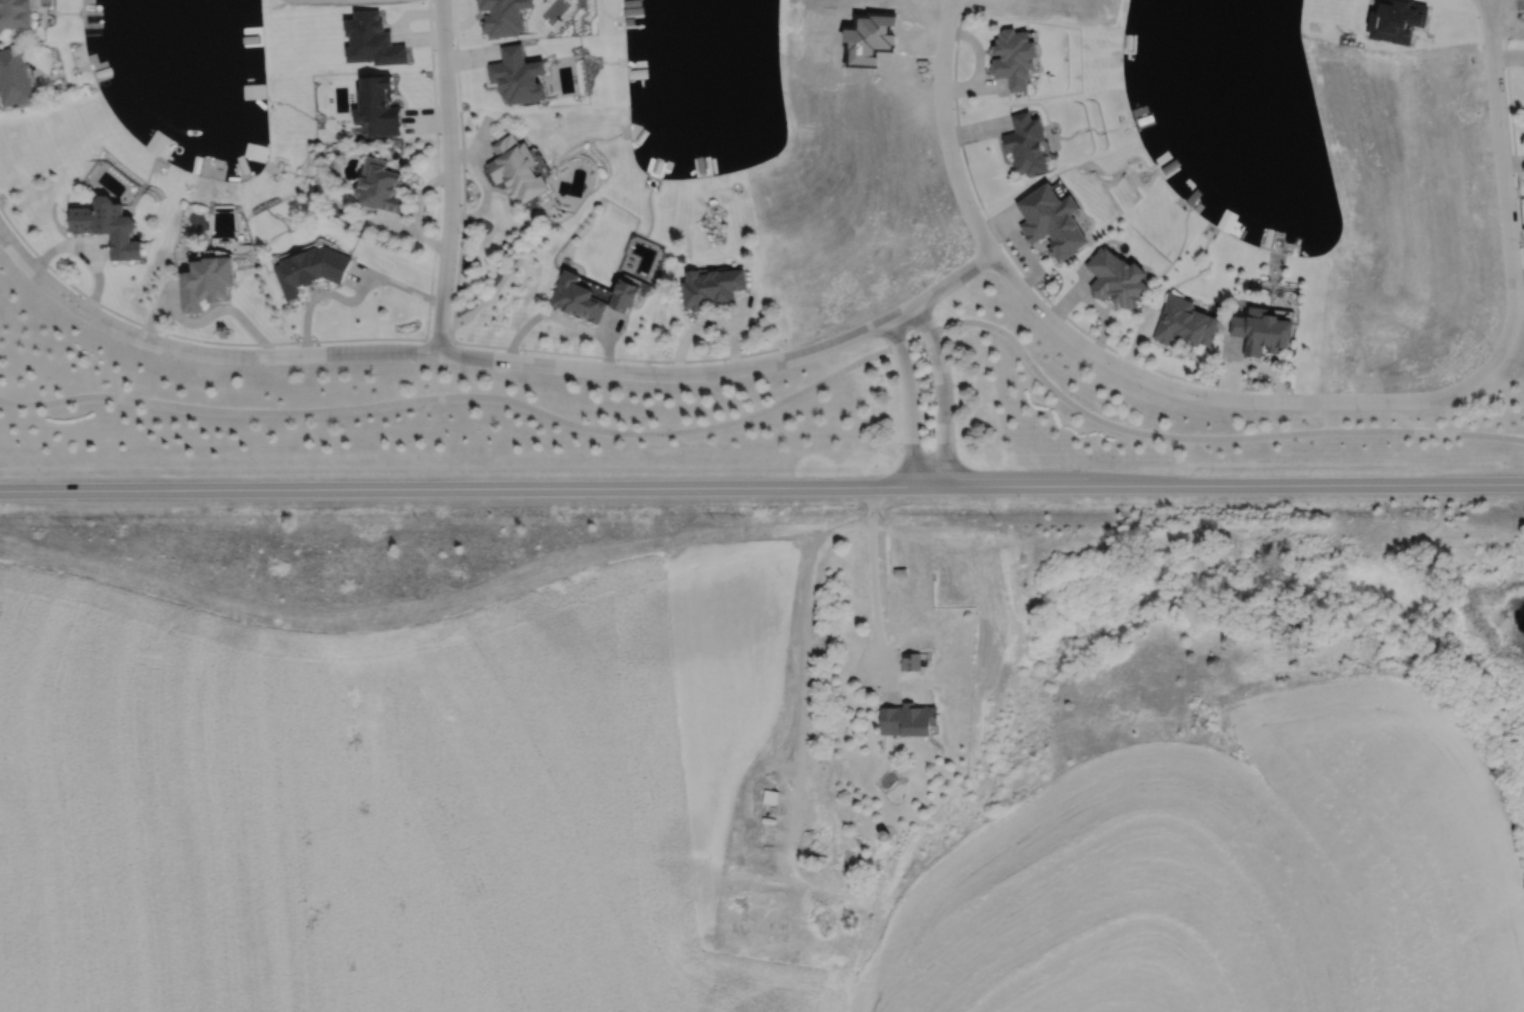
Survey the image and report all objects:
building: (13, 16)
building: (503, 16)
building: (372, 40)
building: (1010, 59)
building: (516, 76)
building: (13, 78)
building: (378, 107)
road: (950, 136)
building: (1023, 147)
road: (1504, 150)
building: (513, 171)
road: (448, 177)
building: (377, 188)
building: (104, 227)
building: (307, 269)
building: (203, 283)
building: (710, 289)
building: (589, 297)
road: (352, 298)
building: (1183, 324)
building: (1261, 333)
road: (480, 358)
road: (942, 391)
road: (784, 393)
road: (910, 402)
road: (1258, 403)
road: (762, 485)
road: (874, 574)
building: (909, 661)
building: (905, 720)
crop: (678, 825)
building: (850, 855)

